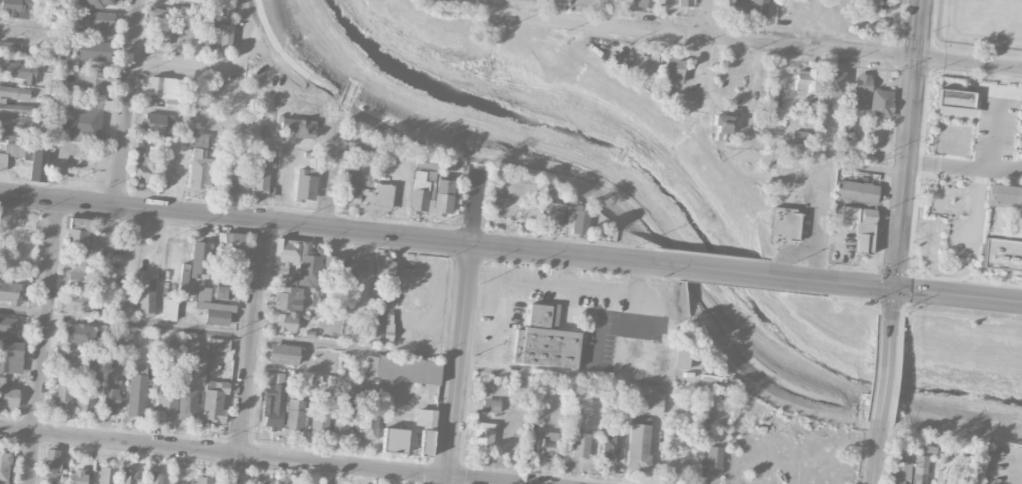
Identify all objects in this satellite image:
building: (107, 2)
building: (643, 3)
building: (685, 3)
building: (870, 4)
road: (496, 5)
building: (737, 6)
building: (760, 7)
building: (15, 8)
building: (162, 13)
building: (193, 18)
building: (96, 22)
building: (161, 35)
building: (212, 35)
road: (758, 43)
building: (10, 46)
road: (703, 51)
building: (90, 52)
road: (165, 65)
building: (647, 66)
building: (673, 70)
building: (19, 72)
building: (94, 80)
building: (805, 81)
building: (833, 83)
building: (158, 86)
building: (861, 91)
building: (15, 92)
road: (1011, 92)
road: (126, 102)
building: (880, 103)
building: (954, 103)
building: (14, 108)
building: (153, 121)
building: (81, 122)
building: (724, 127)
building: (295, 128)
building: (12, 135)
building: (799, 137)
building: (360, 148)
building: (18, 150)
road: (906, 156)
building: (3, 160)
road: (992, 160)
building: (201, 161)
building: (139, 162)
road: (817, 162)
building: (39, 164)
road: (1007, 170)
road: (332, 172)
building: (228, 177)
building: (261, 183)
building: (305, 185)
building: (856, 190)
building: (364, 191)
building: (431, 191)
road: (29, 197)
road: (160, 210)
building: (553, 214)
building: (576, 218)
road: (640, 223)
building: (784, 225)
building: (860, 230)
building: (1002, 230)
building: (101, 241)
road: (461, 242)
building: (233, 243)
building: (78, 247)
building: (300, 259)
building: (200, 260)
building: (332, 267)
building: (357, 267)
building: (384, 269)
building: (280, 270)
road: (718, 270)
building: (183, 277)
road: (637, 280)
building: (223, 284)
road: (548, 286)
traffic signals: (893, 290)
road: (899, 290)
road: (596, 291)
building: (9, 292)
road: (487, 293)
building: (288, 295)
building: (79, 300)
building: (145, 303)
building: (169, 309)
building: (215, 312)
building: (285, 321)
building: (383, 327)
building: (78, 333)
road: (229, 336)
building: (124, 339)
building: (544, 339)
road: (42, 341)
road: (492, 343)
building: (220, 345)
building: (170, 347)
building: (190, 349)
road: (249, 352)
building: (285, 354)
building: (69, 358)
building: (682, 359)
road: (458, 363)
road: (885, 367)
building: (401, 369)
building: (279, 378)
building: (174, 390)
building: (137, 391)
building: (8, 395)
building: (62, 395)
building: (86, 396)
building: (109, 398)
building: (214, 400)
building: (187, 404)
building: (164, 405)
building: (490, 405)
building: (650, 405)
building: (272, 407)
building: (294, 415)
building: (424, 417)
building: (319, 418)
building: (342, 418)
building: (536, 418)
building: (367, 420)
building: (483, 435)
building: (393, 440)
building: (426, 443)
building: (546, 443)
building: (639, 443)
building: (580, 444)
building: (610, 447)
road: (876, 452)
road: (259, 456)
building: (51, 460)
building: (709, 461)
building: (4, 467)
building: (919, 469)
building: (901, 474)
building: (107, 475)
building: (128, 476)
building: (78, 477)
building: (942, 477)
building: (155, 478)
building: (203, 480)
building: (964, 480)
building: (261, 481)
building: (94, 483)

